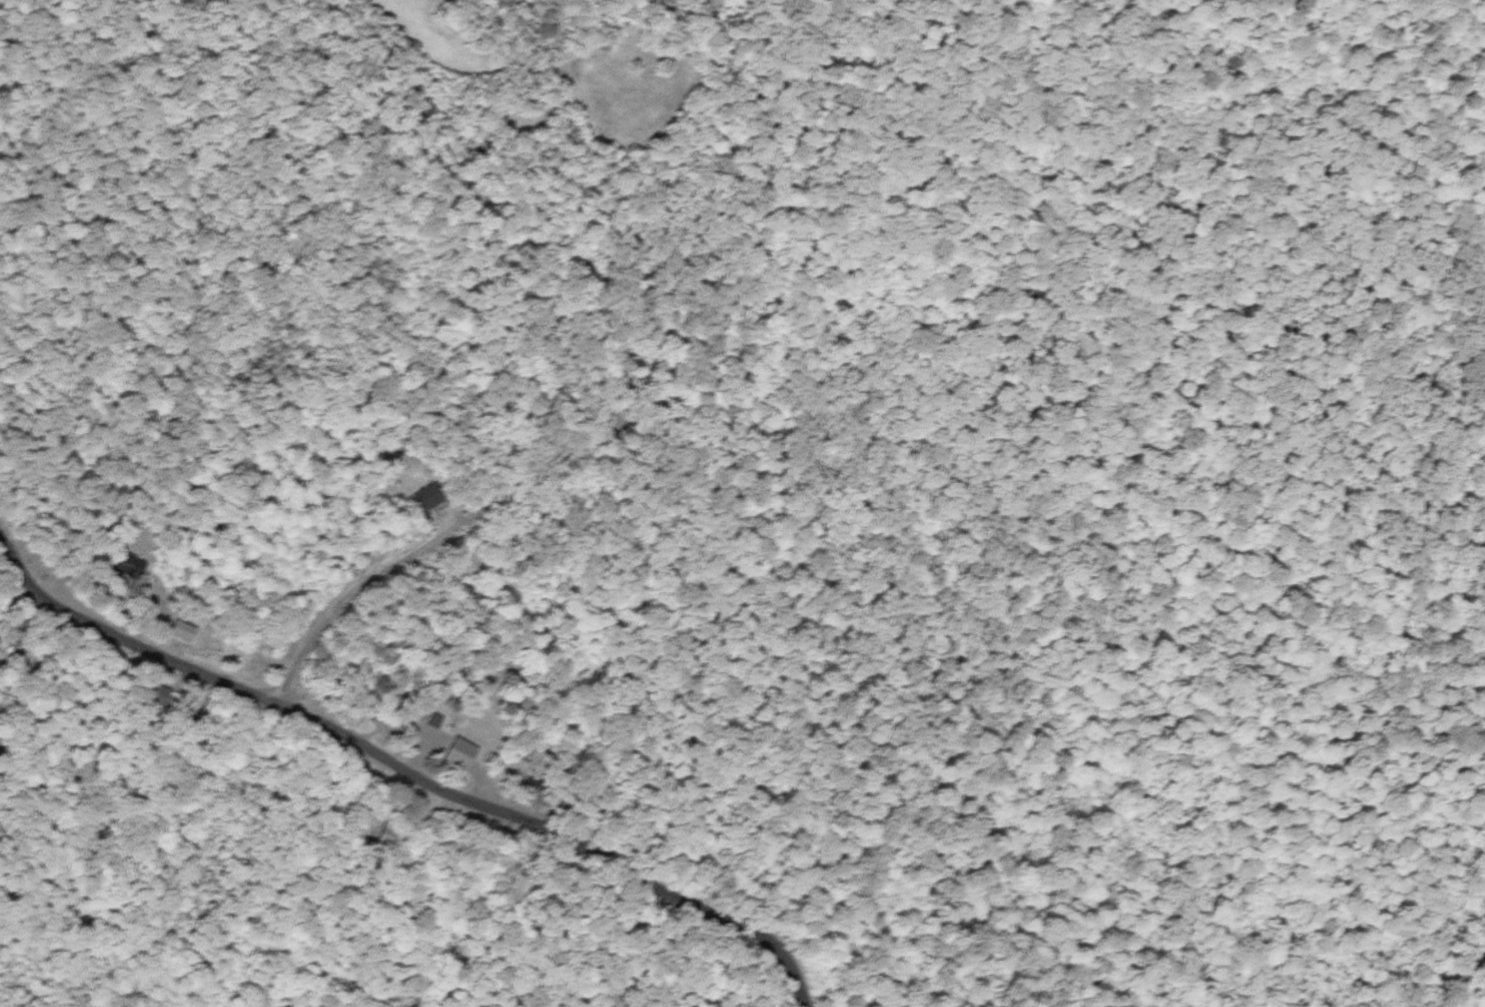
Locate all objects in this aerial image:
building: (427, 497)
building: (127, 565)
road: (351, 594)
building: (182, 630)
building: (9, 647)
building: (460, 752)
road: (408, 772)
road: (1449, 980)

